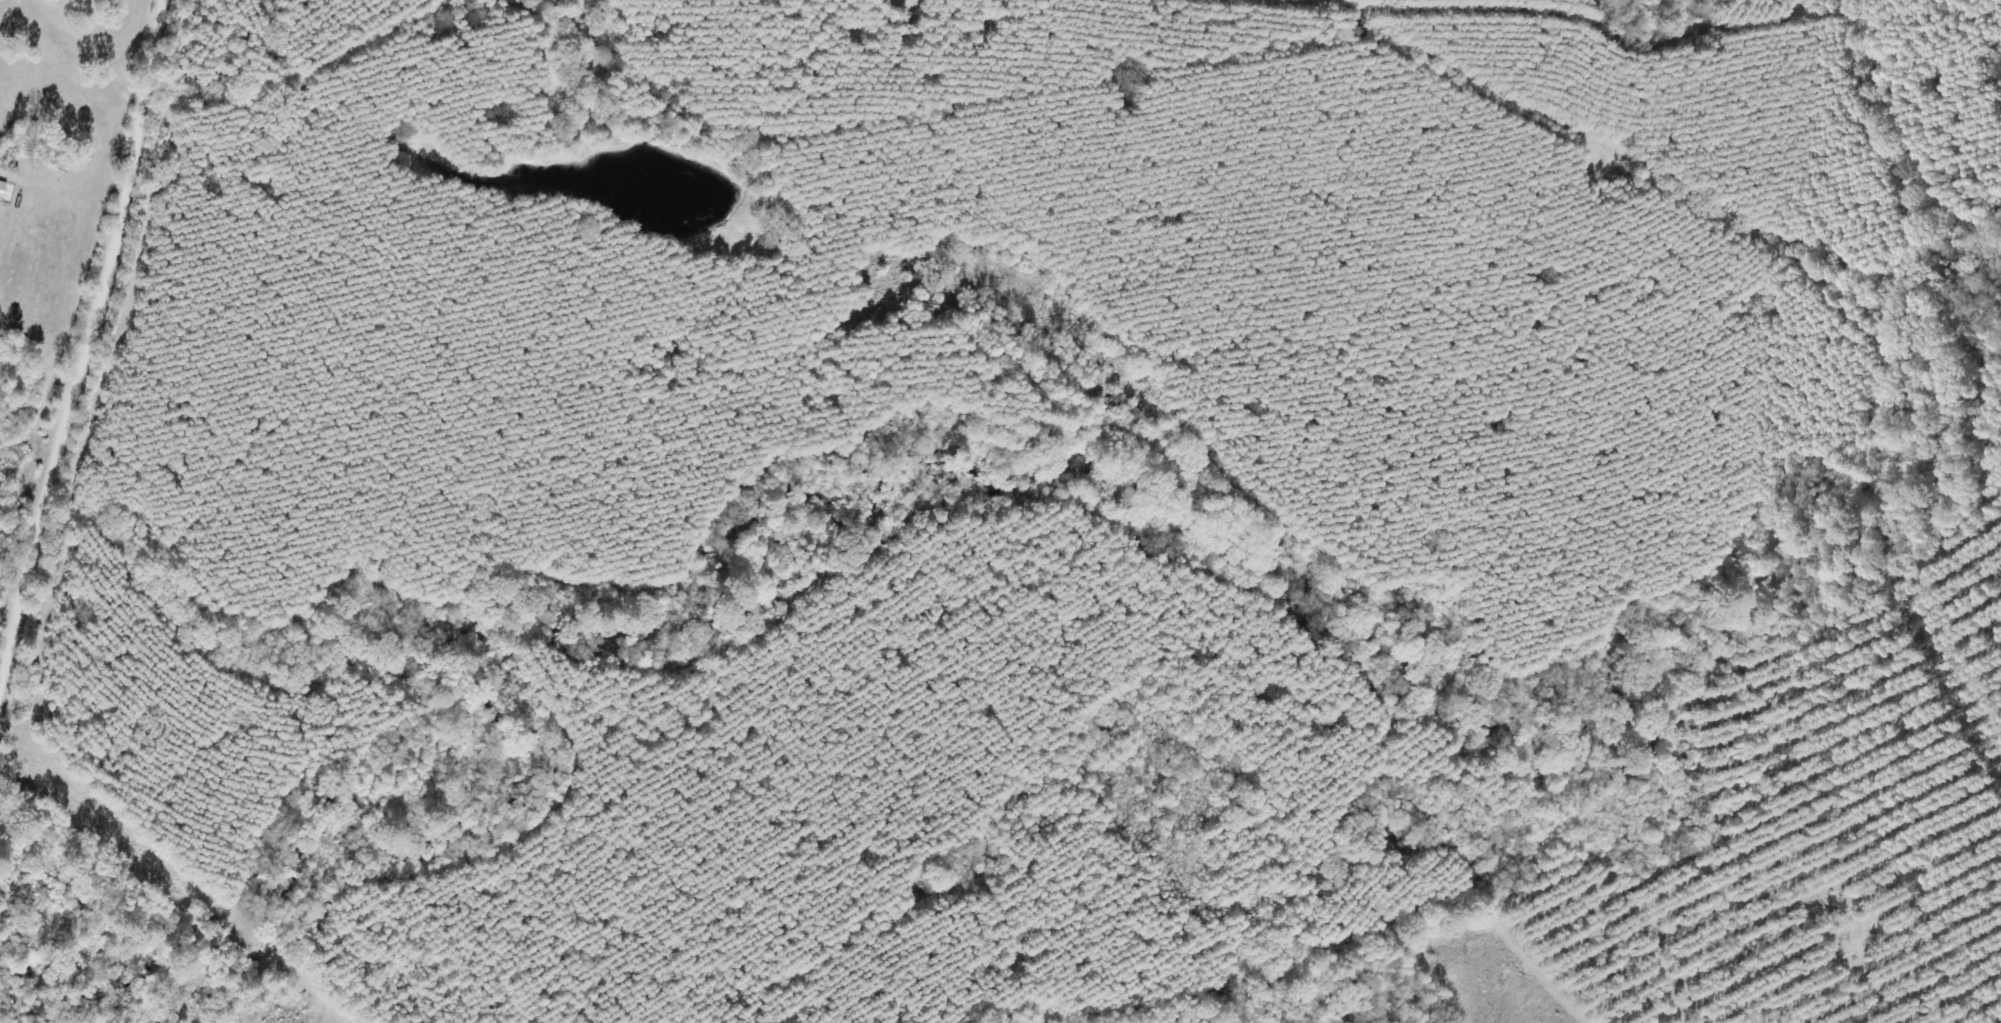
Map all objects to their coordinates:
road: (75, 329)
road: (24, 1017)

